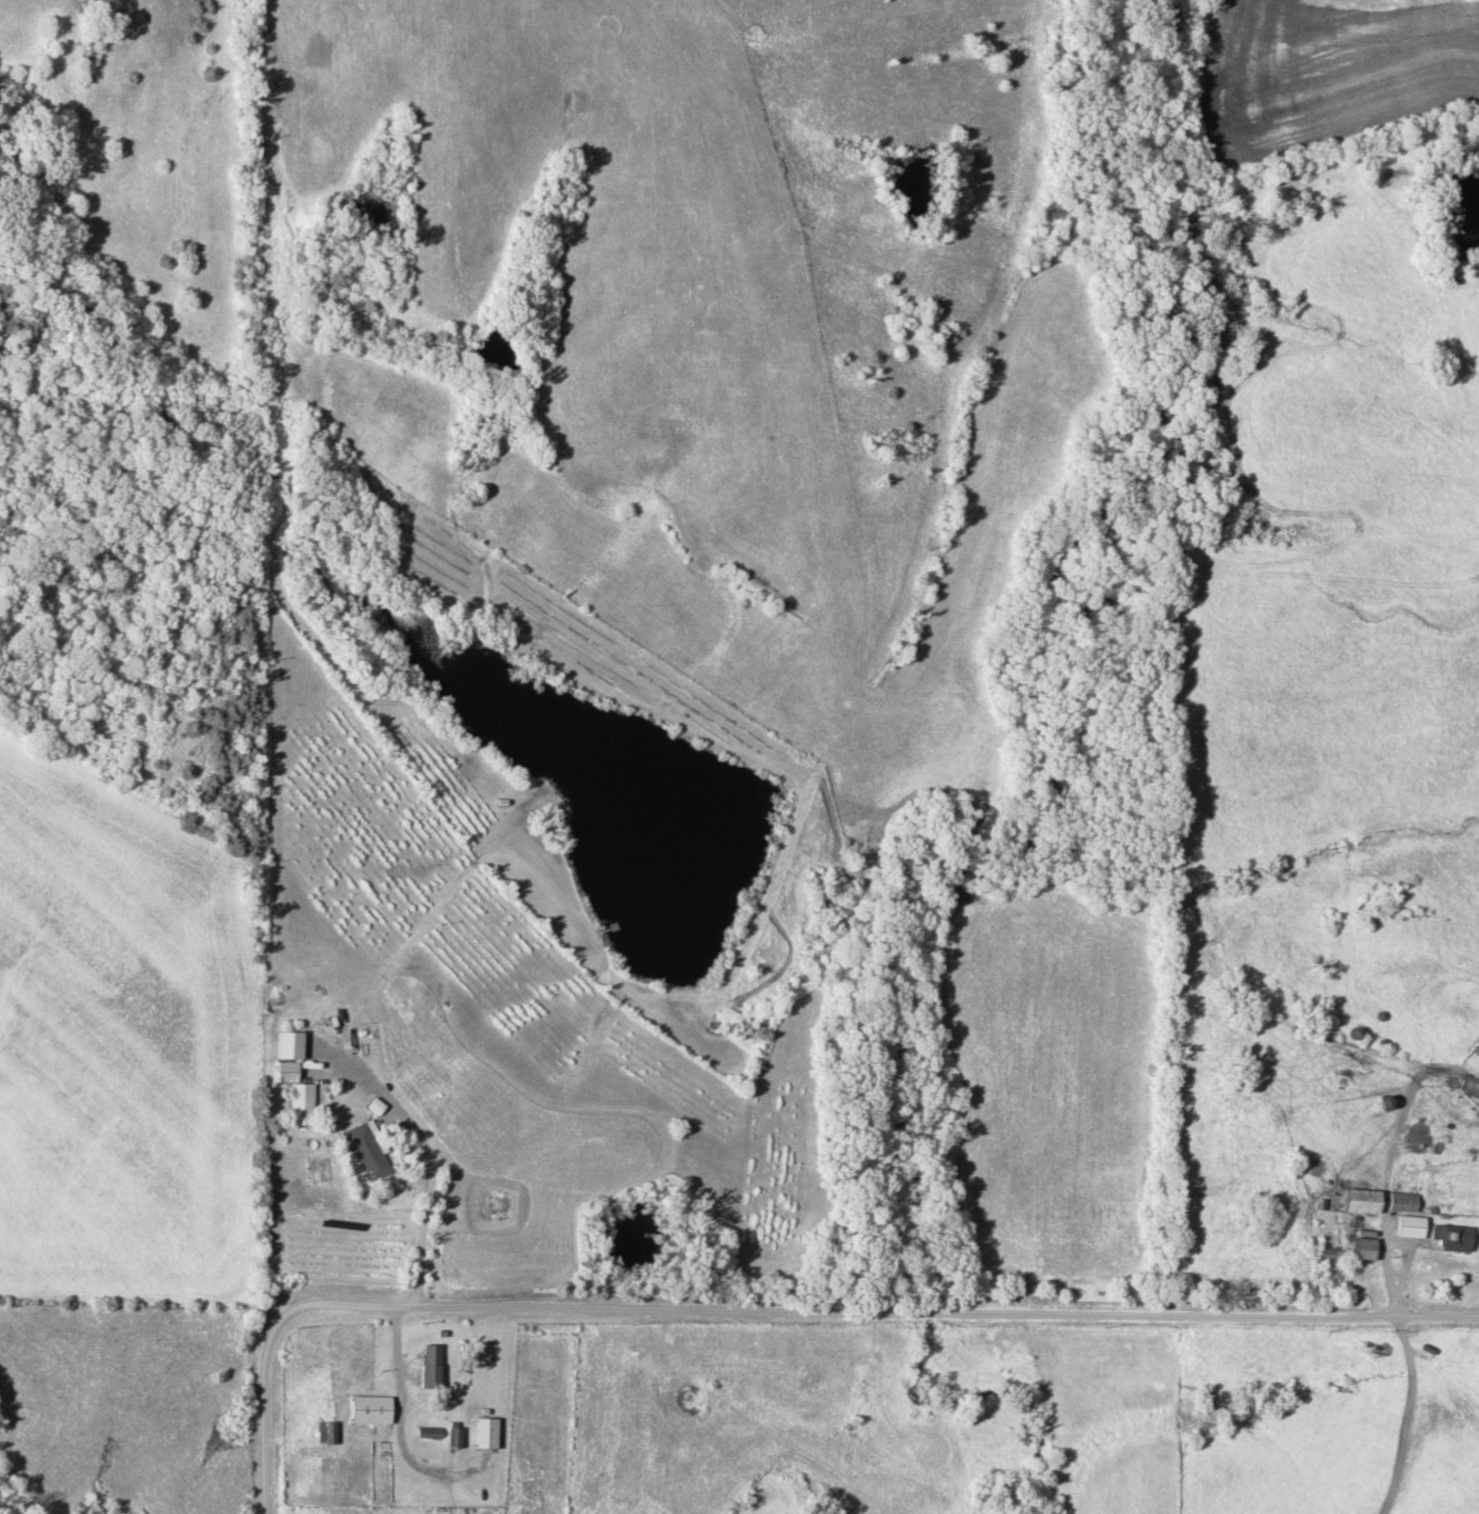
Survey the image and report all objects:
building: (1473, 1061)
building: (299, 1092)
building: (371, 1152)
building: (1363, 1200)
building: (1404, 1200)
building: (1412, 1225)
building: (1454, 1236)
building: (1366, 1247)
road: (781, 1310)
building: (433, 1365)
building: (373, 1408)
building: (327, 1431)
building: (432, 1431)
building: (489, 1432)
building: (457, 1434)

